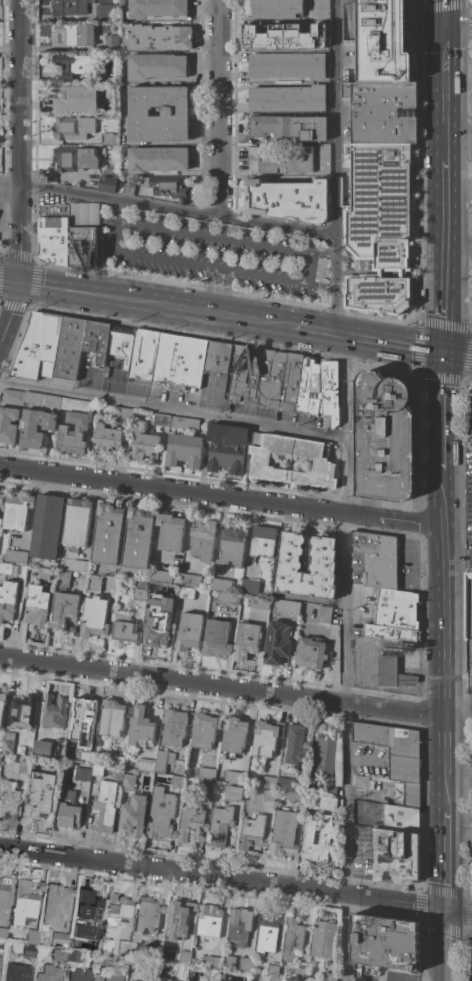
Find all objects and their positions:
building: (67, 7)
building: (154, 8)
building: (276, 9)
building: (322, 9)
road: (443, 10)
building: (106, 12)
traffic signals: (444, 20)
road: (458, 20)
building: (321, 26)
building: (74, 34)
building: (158, 37)
building: (385, 40)
building: (271, 41)
building: (111, 44)
building: (122, 57)
building: (74, 64)
building: (287, 65)
building: (155, 66)
road: (444, 90)
building: (109, 91)
road: (20, 92)
building: (287, 98)
building: (75, 99)
road: (469, 99)
road: (222, 110)
building: (382, 111)
building: (174, 112)
building: (290, 126)
building: (72, 129)
road: (458, 134)
building: (106, 139)
building: (76, 158)
building: (157, 159)
building: (323, 159)
building: (281, 160)
road: (337, 166)
building: (109, 180)
road: (10, 183)
building: (166, 186)
building: (128, 188)
road: (10, 196)
building: (288, 200)
road: (117, 212)
road: (179, 212)
building: (83, 213)
road: (10, 225)
building: (381, 225)
building: (54, 233)
road: (21, 234)
road: (468, 239)
building: (82, 246)
road: (272, 248)
parking lot: (212, 255)
road: (444, 256)
road: (324, 257)
road: (151, 259)
road: (10, 282)
traffic signals: (21, 284)
road: (322, 285)
road: (215, 290)
road: (117, 298)
road: (12, 317)
road: (384, 318)
road: (252, 320)
road: (417, 320)
road: (368, 338)
building: (97, 340)
building: (38, 347)
building: (69, 347)
building: (119, 347)
traffic signals: (444, 352)
building: (143, 354)
road: (458, 354)
building: (217, 356)
building: (179, 360)
building: (284, 381)
building: (12, 395)
building: (42, 399)
road: (443, 409)
road: (174, 411)
building: (469, 411)
building: (124, 414)
building: (161, 420)
building: (184, 423)
building: (8, 424)
building: (35, 427)
building: (81, 427)
building: (385, 437)
building: (106, 438)
building: (143, 445)
building: (226, 447)
building: (184, 450)
building: (261, 460)
road: (221, 496)
road: (443, 496)
building: (1, 498)
parking lot: (467, 500)
building: (17, 511)
building: (76, 522)
building: (46, 526)
building: (170, 532)
building: (107, 534)
building: (137, 538)
building: (202, 540)
building: (262, 542)
road: (443, 543)
building: (232, 545)
building: (15, 556)
building: (377, 559)
road: (454, 561)
road: (468, 561)
building: (306, 564)
building: (75, 565)
building: (8, 568)
building: (43, 573)
building: (160, 576)
building: (62, 578)
building: (189, 580)
building: (94, 583)
building: (141, 584)
building: (220, 585)
building: (249, 586)
building: (186, 593)
building: (139, 595)
building: (227, 598)
building: (7, 600)
building: (259, 602)
building: (36, 606)
building: (288, 606)
building: (397, 609)
building: (63, 610)
building: (324, 614)
building: (94, 617)
building: (157, 626)
building: (124, 629)
building: (468, 630)
building: (391, 632)
building: (189, 633)
building: (216, 638)
building: (246, 641)
building: (277, 643)
building: (310, 653)
road: (346, 657)
building: (392, 673)
road: (221, 687)
building: (2, 704)
road: (458, 708)
building: (22, 711)
building: (53, 711)
building: (112, 717)
building: (84, 726)
building: (174, 726)
building: (140, 727)
building: (204, 730)
building: (234, 734)
building: (266, 737)
building: (8, 742)
building: (295, 746)
building: (43, 748)
building: (393, 748)
building: (23, 750)
building: (68, 754)
building: (325, 754)
building: (163, 760)
building: (114, 761)
building: (145, 765)
building: (20, 766)
building: (96, 770)
road: (443, 770)
building: (204, 773)
building: (81, 774)
building: (233, 777)
building: (360, 781)
building: (127, 782)
building: (177, 782)
building: (267, 782)
building: (206, 787)
building: (330, 789)
building: (289, 790)
building: (232, 793)
building: (411, 794)
building: (40, 795)
building: (267, 795)
building: (8, 800)
building: (324, 802)
building: (104, 805)
building: (68, 810)
building: (161, 815)
building: (133, 816)
building: (399, 818)
building: (190, 823)
building: (219, 826)
building: (252, 833)
building: (283, 833)
building: (323, 840)
building: (396, 855)
road: (236, 880)
building: (41, 886)
building: (3, 894)
building: (23, 903)
building: (56, 903)
building: (116, 907)
traffic signals: (443, 911)
building: (85, 915)
building: (147, 915)
building: (177, 921)
building: (208, 923)
building: (239, 926)
building: (3, 932)
building: (267, 933)
building: (32, 936)
building: (59, 938)
building: (292, 938)
building: (322, 938)
building: (385, 942)
building: (91, 945)
building: (123, 946)
building: (29, 950)
building: (104, 952)
building: (185, 953)
building: (58, 955)
building: (73, 955)
building: (213, 958)
building: (228, 962)
building: (133, 963)
building: (245, 964)
building: (179, 970)
building: (272, 970)
building: (18, 972)
building: (300, 972)
building: (49, 973)
building: (212, 973)
building: (80, 975)
building: (113, 976)
building: (327, 976)
road: (413, 977)
building: (471, 977)
building: (145, 978)
building: (274, 978)
road: (382, 978)
building: (164, 979)
building: (193, 980)

